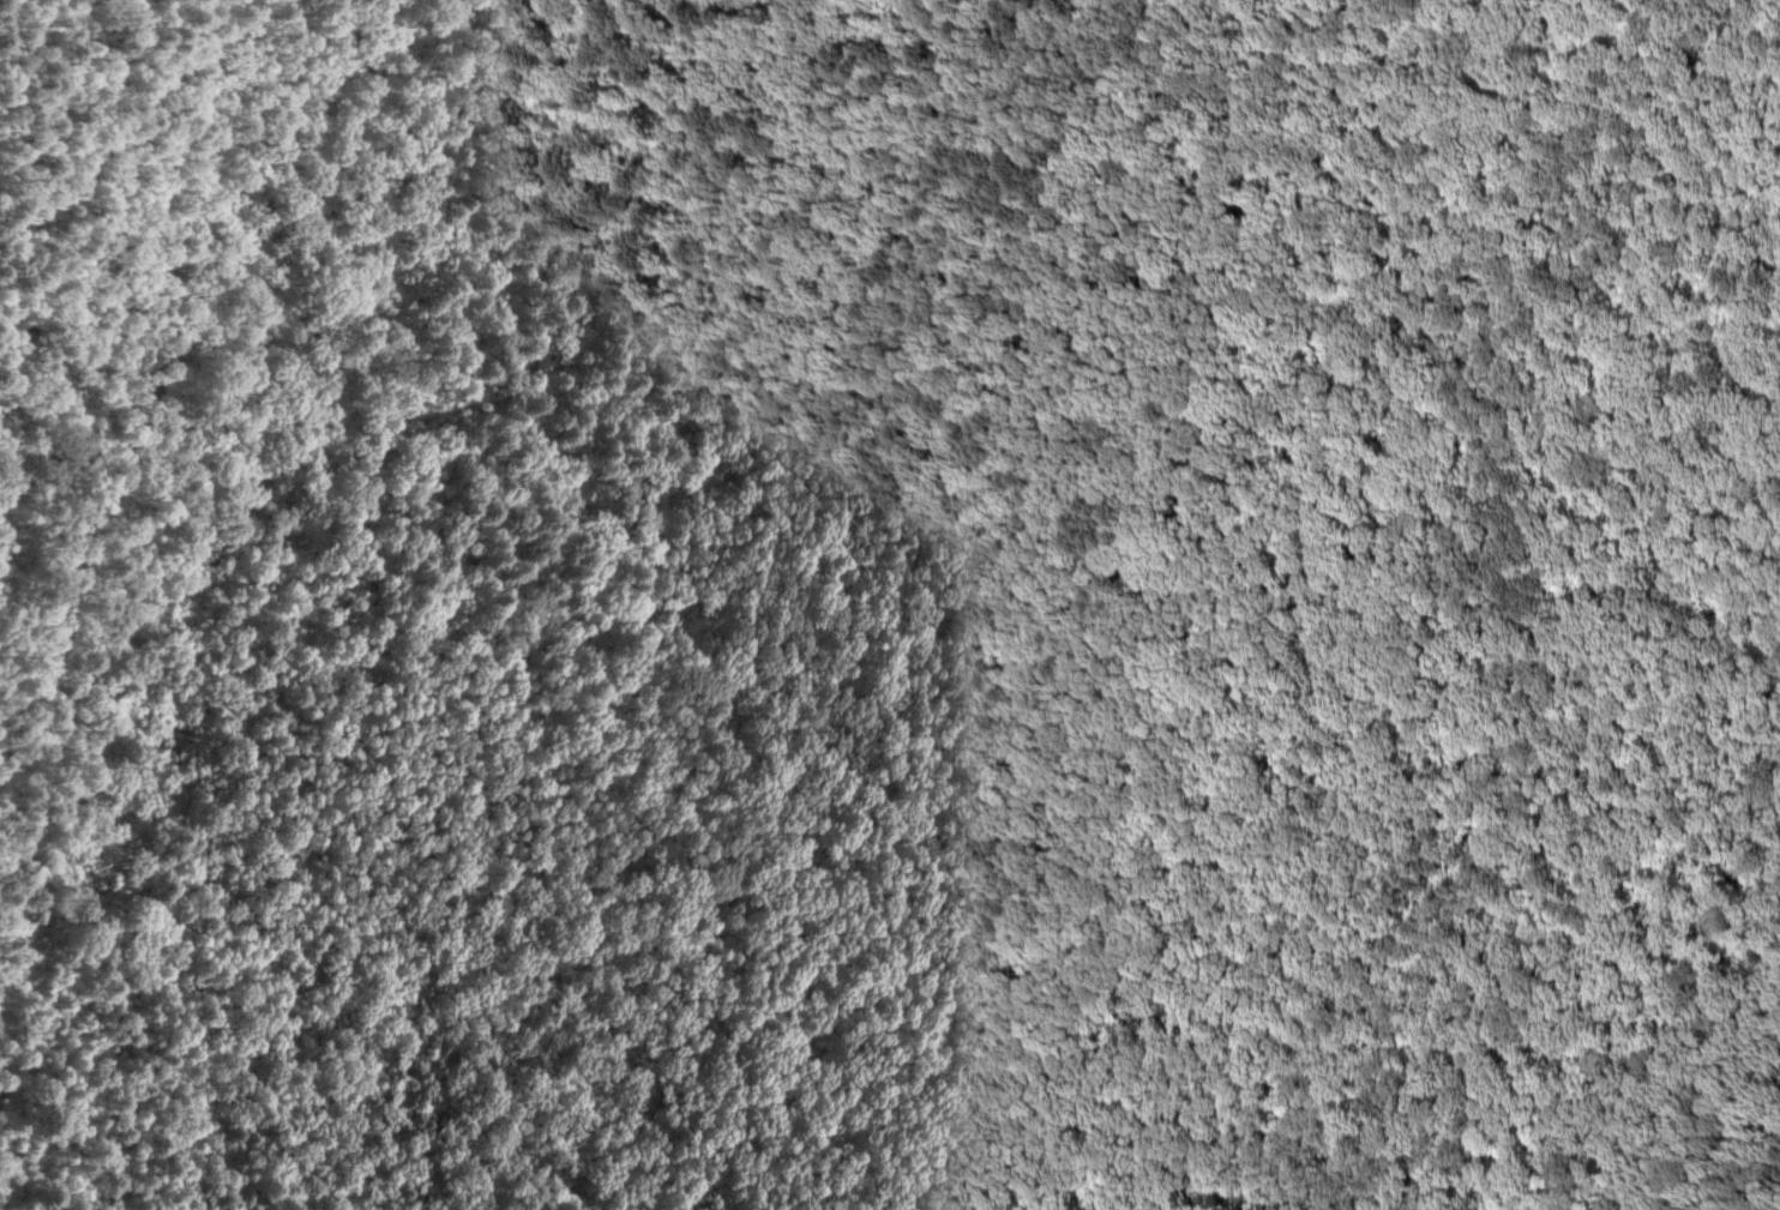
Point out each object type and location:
road: (79, 351)
road: (128, 459)

